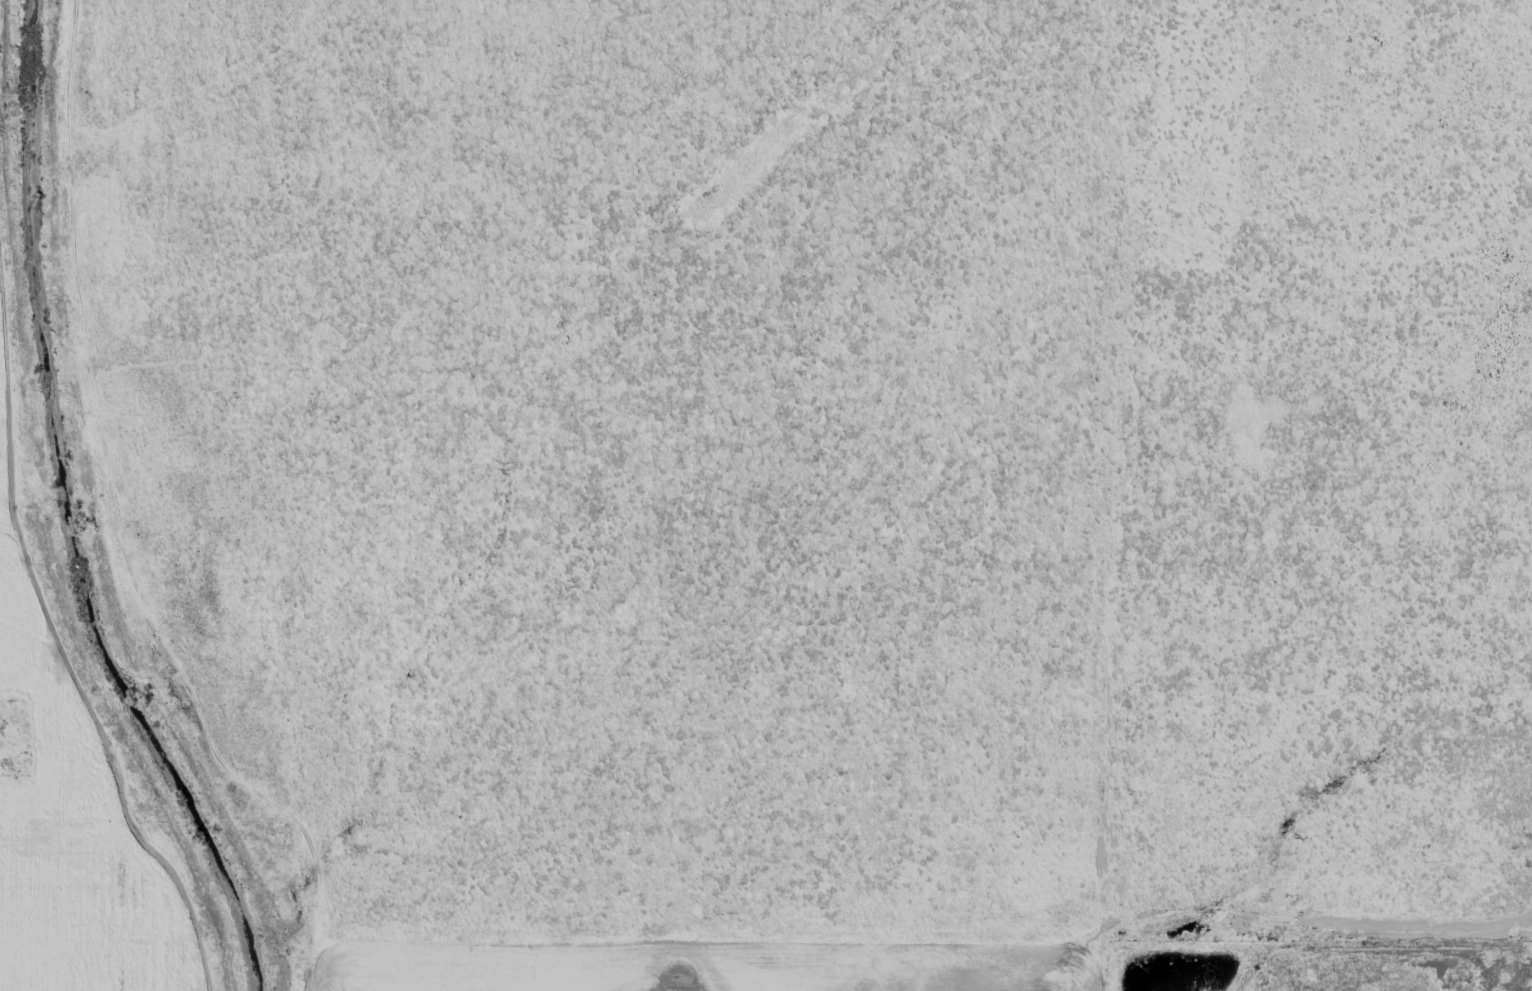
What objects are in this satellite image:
river: (74, 516)

